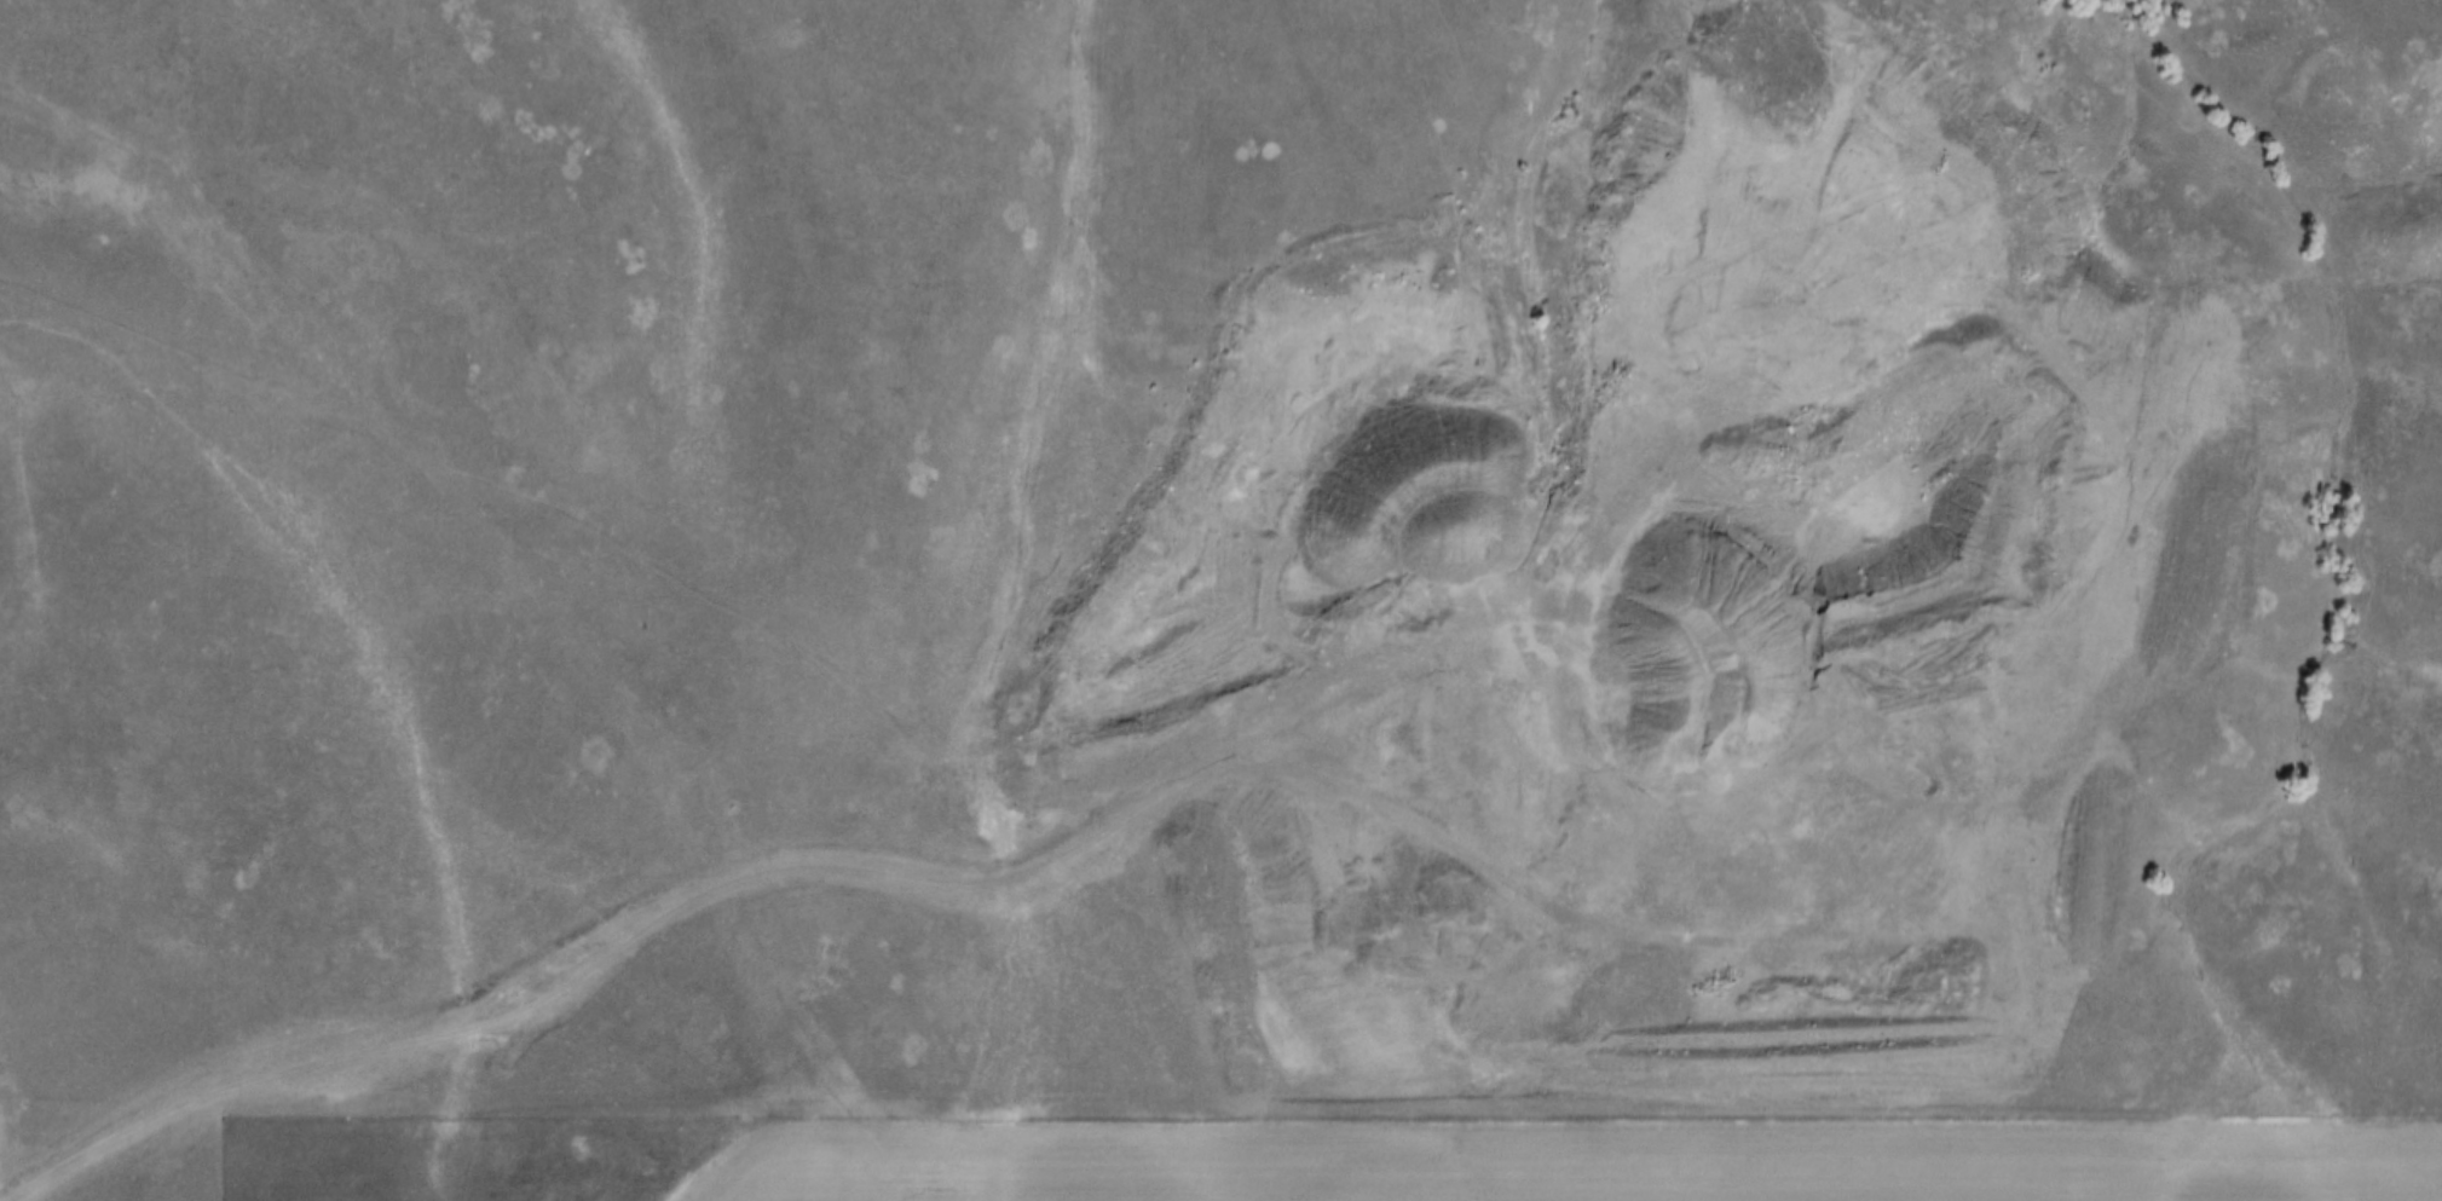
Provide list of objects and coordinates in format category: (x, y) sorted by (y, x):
road: (935, 883)

